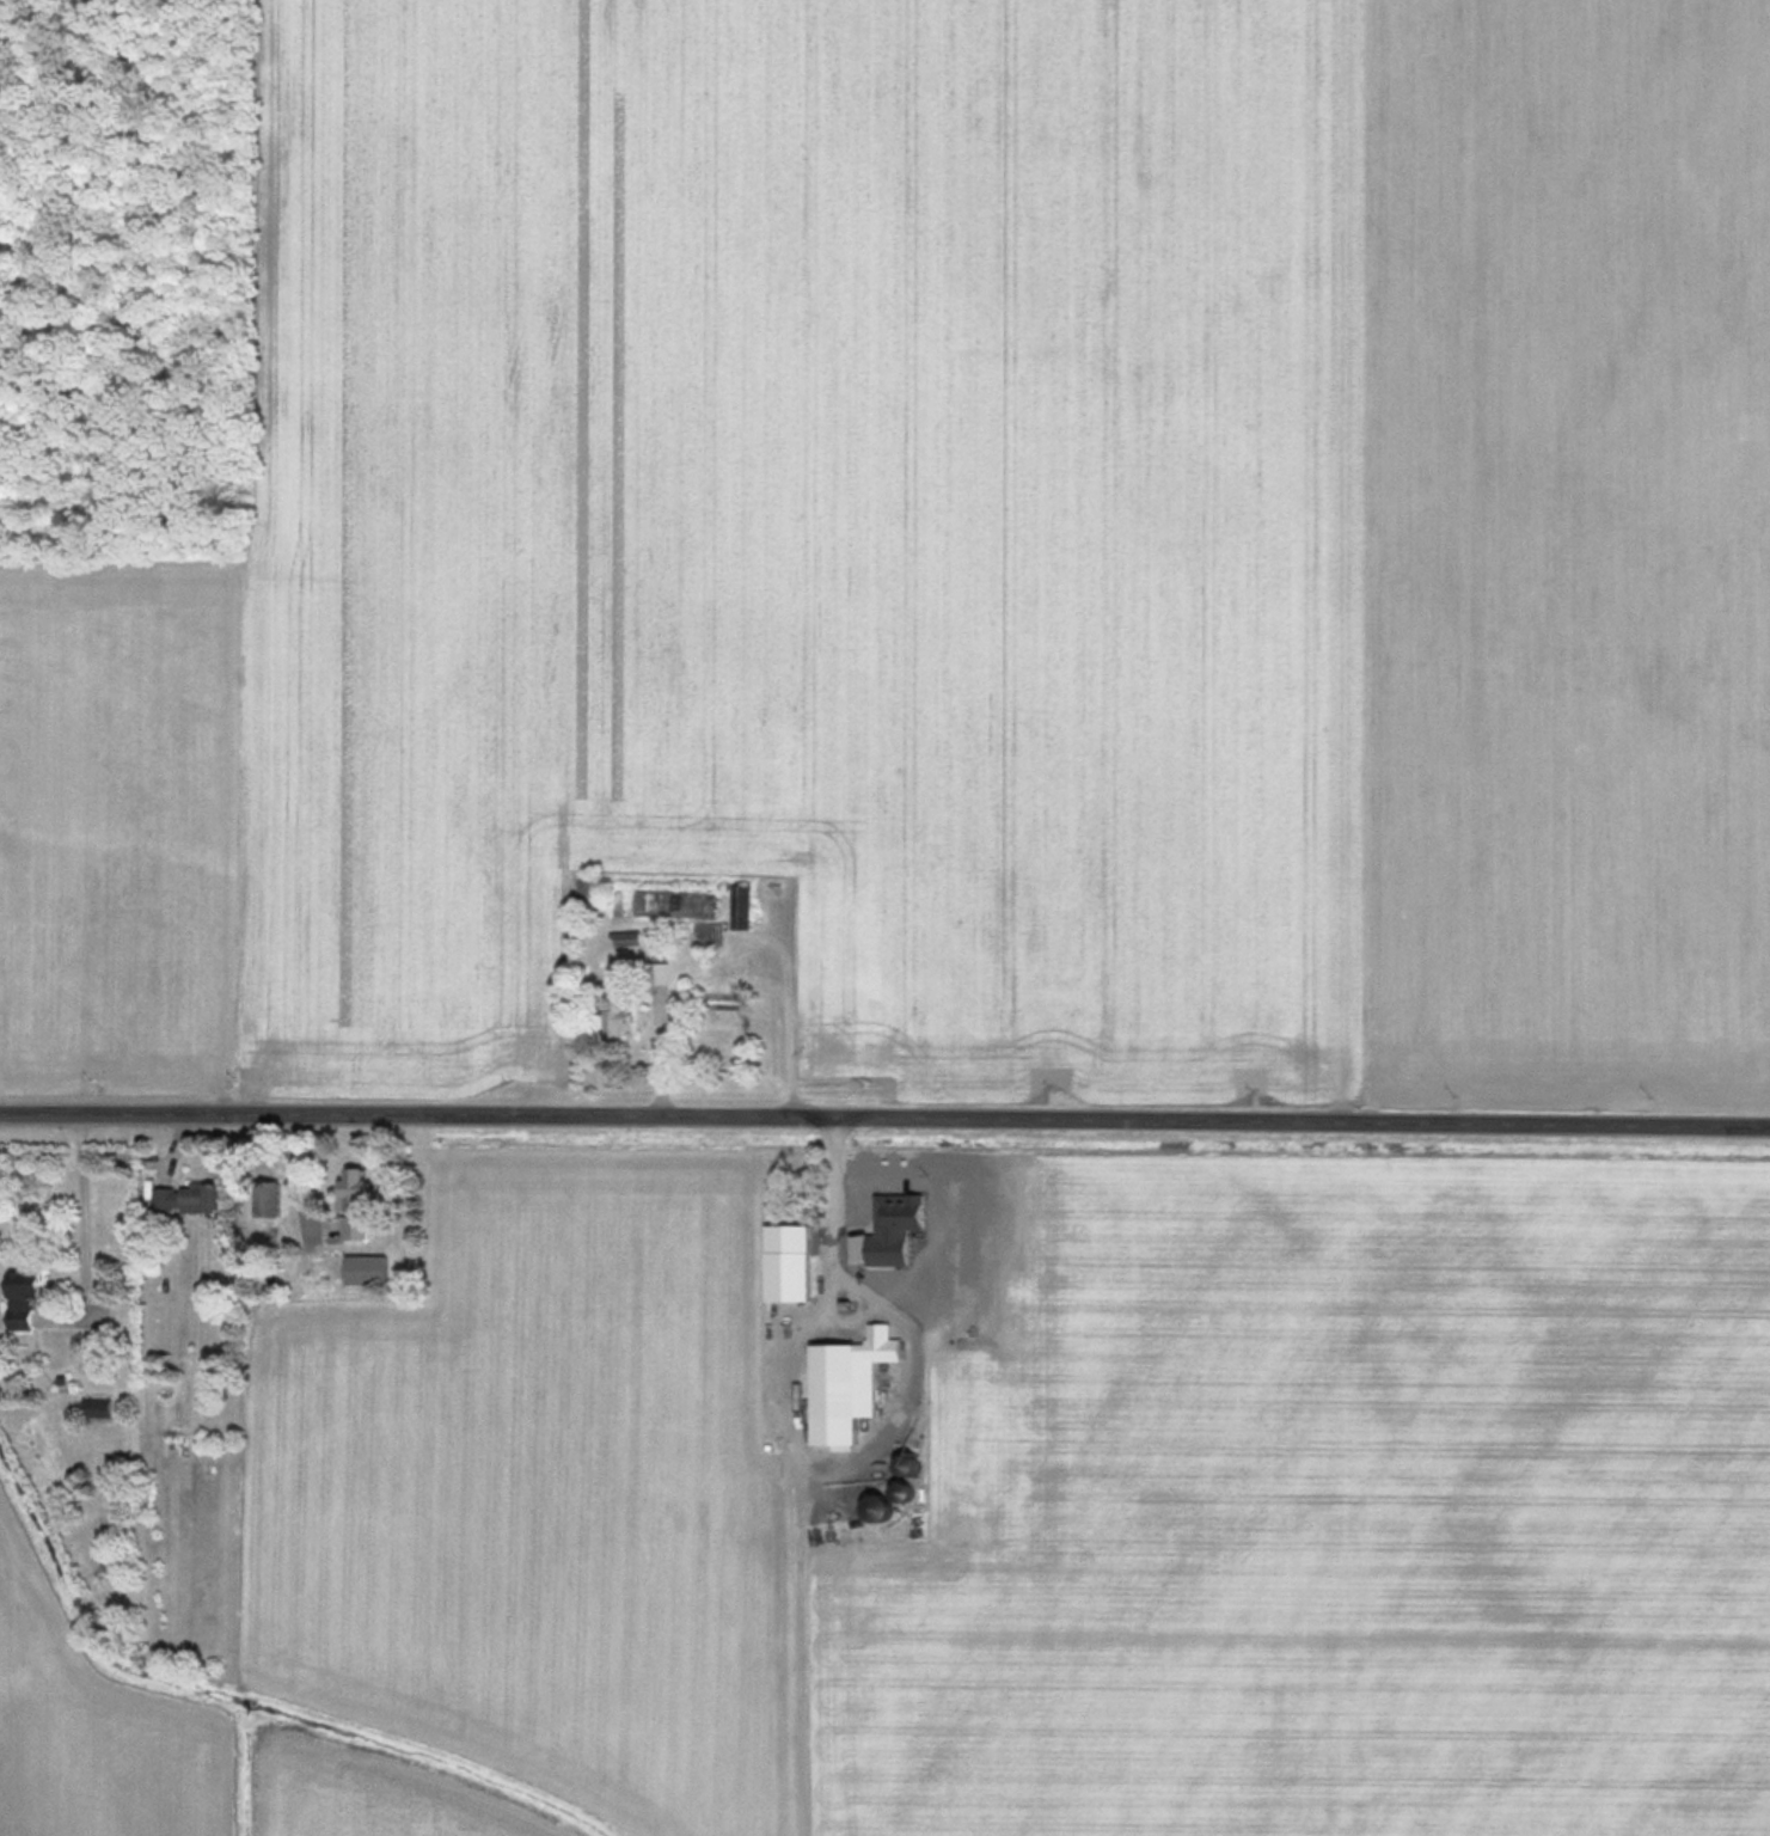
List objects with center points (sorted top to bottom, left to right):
building: (745, 907)
building: (631, 938)
building: (625, 1015)
road: (884, 1120)
building: (194, 1197)
building: (274, 1199)
building: (360, 1202)
building: (889, 1204)
building: (795, 1269)
road: (831, 1273)
building: (30, 1293)
building: (884, 1342)
building: (840, 1378)
building: (102, 1406)

